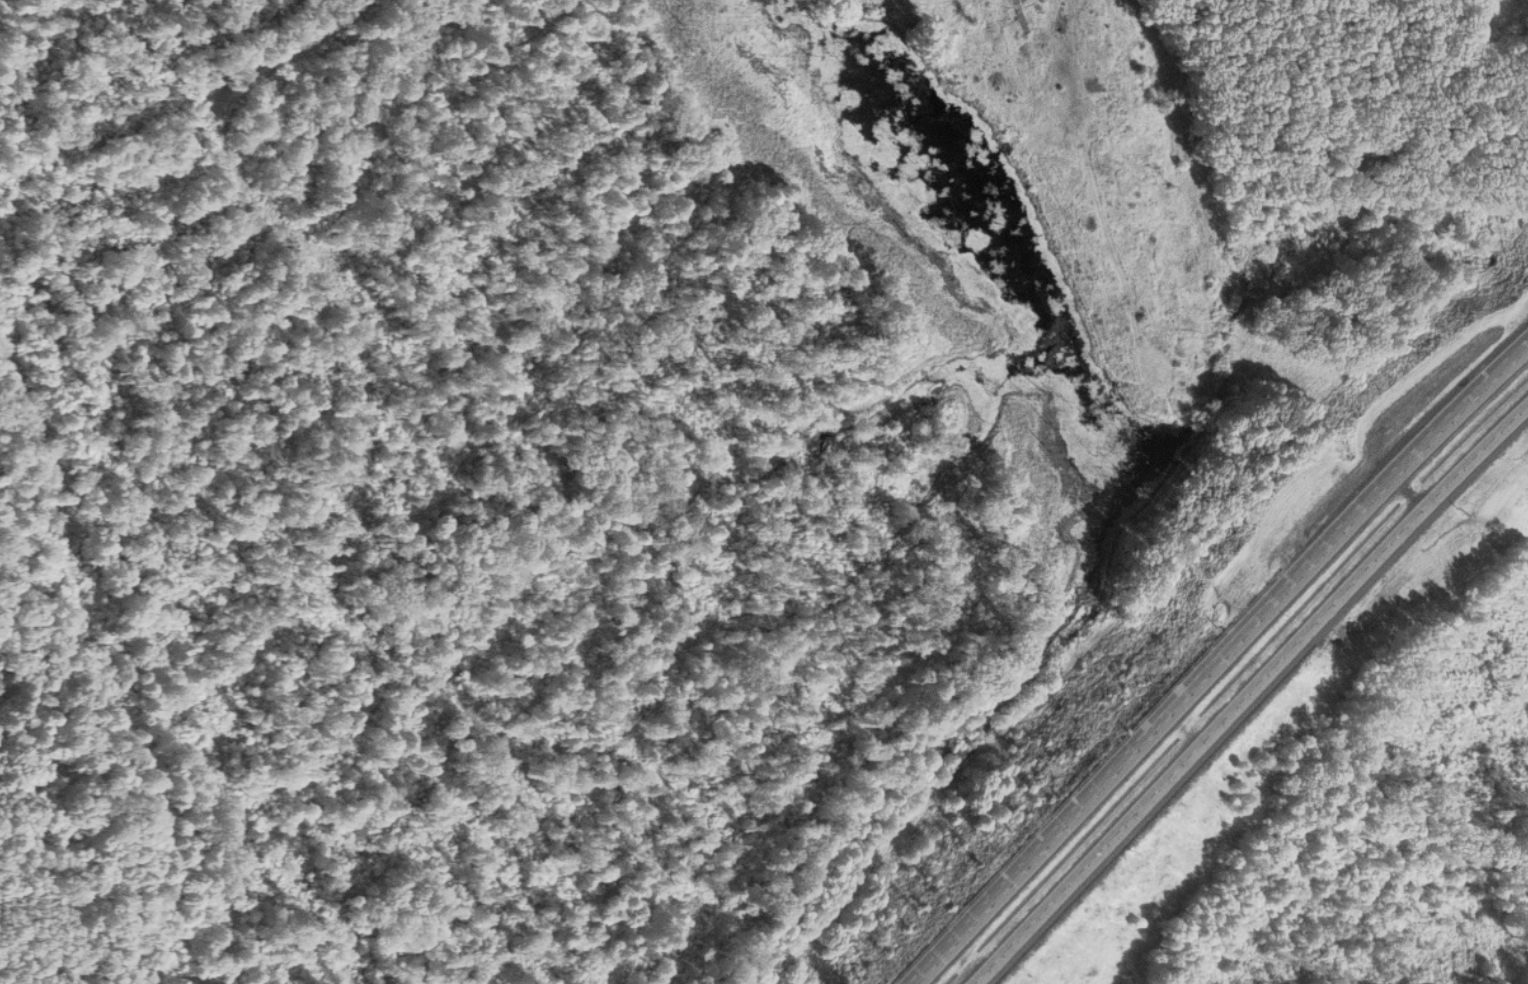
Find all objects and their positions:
road: (1089, 172)
road: (1211, 658)
road: (1250, 692)

